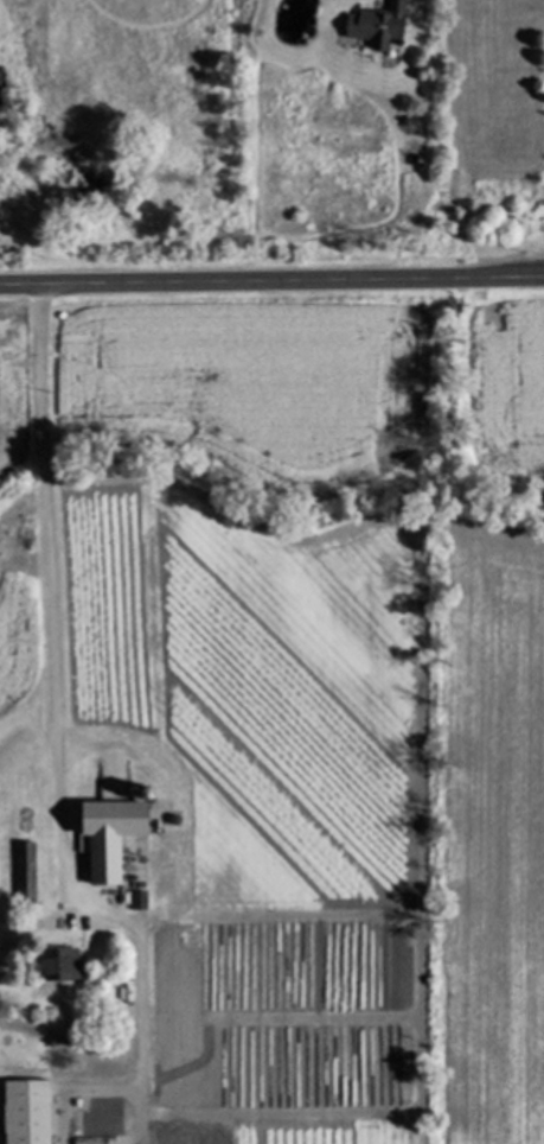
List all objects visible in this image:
building: (382, 27)
park: (493, 133)
road: (271, 282)
crop: (15, 498)
crop: (327, 693)
road: (53, 726)
building: (114, 834)
building: (26, 870)
building: (63, 964)
building: (28, 1111)

